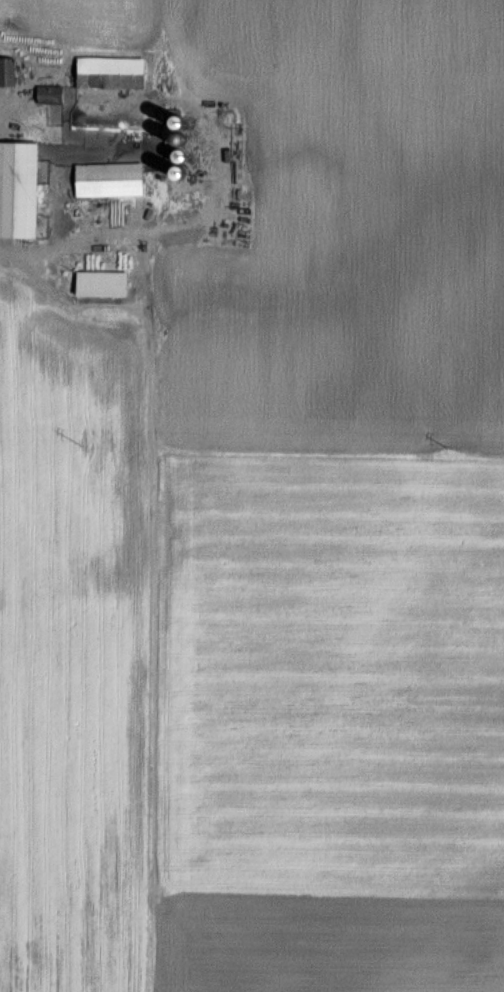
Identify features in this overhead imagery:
building: (8, 70)
building: (113, 71)
building: (53, 94)
building: (221, 158)
building: (112, 178)
building: (20, 188)
road: (6, 251)
building: (104, 282)
road: (145, 284)

